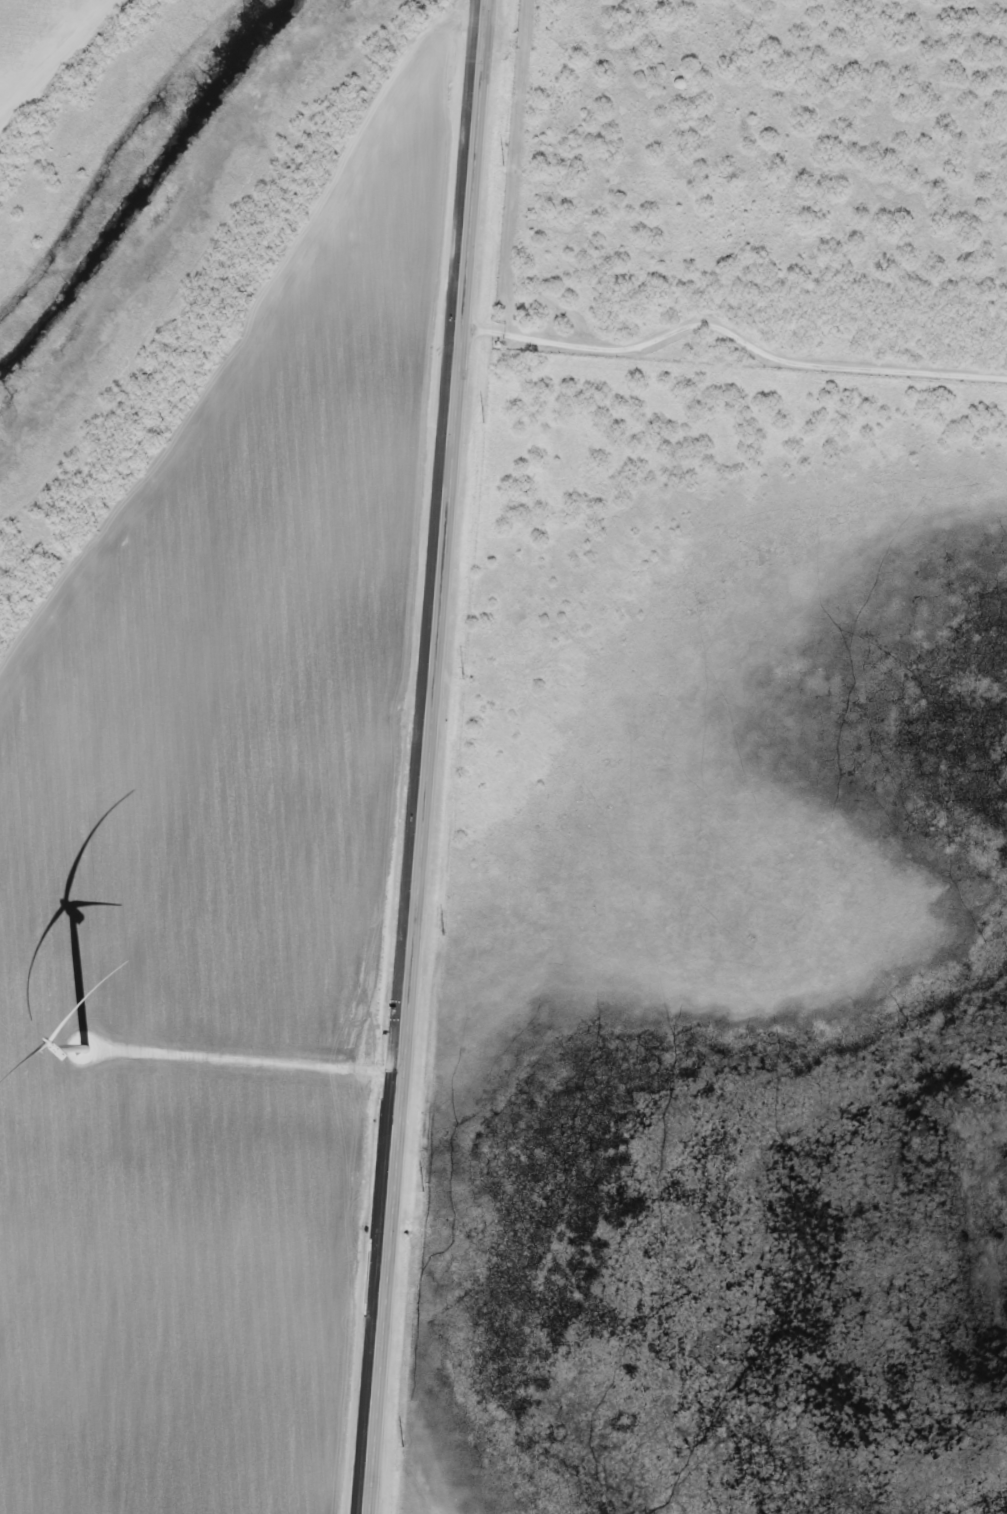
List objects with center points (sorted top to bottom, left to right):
road: (735, 332)
road: (428, 757)
wind turbine: (85, 1050)

